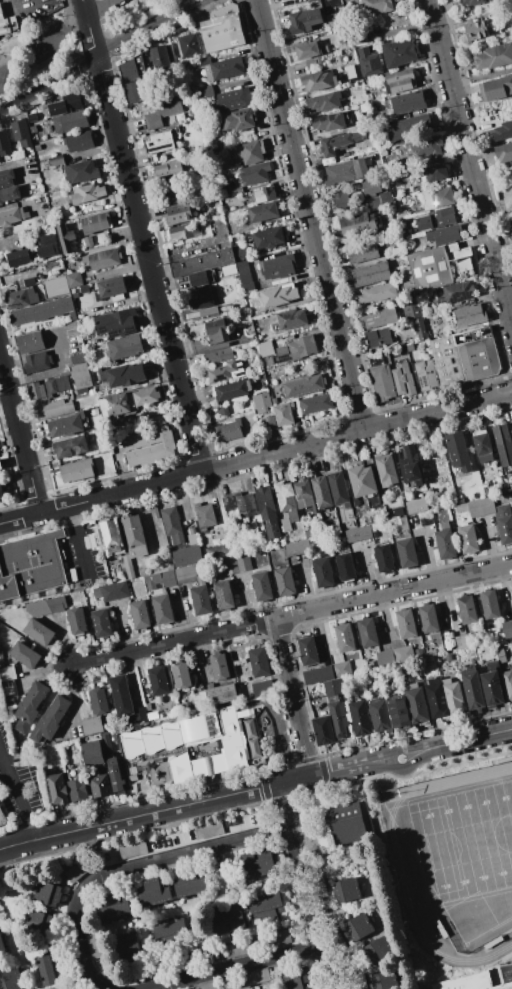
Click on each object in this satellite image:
building: (302, 1)
building: (473, 2)
road: (19, 6)
building: (376, 6)
road: (99, 8)
building: (304, 20)
building: (10, 25)
building: (222, 28)
building: (478, 30)
building: (358, 35)
building: (511, 41)
building: (189, 45)
building: (307, 50)
park: (35, 52)
building: (399, 52)
building: (160, 57)
building: (493, 58)
road: (103, 59)
building: (369, 61)
building: (224, 68)
building: (349, 71)
building: (132, 78)
building: (318, 81)
building: (398, 81)
building: (496, 89)
building: (204, 93)
building: (232, 99)
building: (324, 101)
building: (405, 102)
building: (69, 103)
building: (379, 106)
building: (162, 111)
building: (33, 117)
building: (237, 120)
building: (70, 122)
building: (329, 122)
building: (407, 127)
building: (32, 129)
building: (503, 131)
building: (21, 133)
building: (78, 141)
building: (159, 143)
building: (338, 143)
building: (4, 144)
building: (36, 147)
building: (425, 149)
building: (249, 152)
building: (382, 152)
building: (504, 154)
building: (55, 160)
road: (19, 168)
building: (168, 170)
building: (435, 170)
building: (81, 172)
building: (345, 172)
building: (254, 173)
road: (469, 177)
building: (6, 178)
building: (370, 187)
building: (170, 190)
building: (8, 193)
building: (85, 193)
building: (264, 195)
building: (437, 198)
building: (339, 199)
road: (22, 201)
building: (263, 212)
building: (178, 213)
building: (402, 215)
building: (11, 216)
road: (307, 217)
building: (436, 219)
building: (95, 223)
building: (511, 224)
building: (357, 225)
building: (183, 231)
building: (444, 234)
road: (138, 237)
building: (65, 238)
building: (268, 238)
building: (87, 241)
building: (46, 246)
building: (363, 252)
building: (240, 254)
building: (18, 258)
building: (102, 259)
building: (399, 259)
building: (202, 262)
building: (277, 267)
building: (439, 267)
building: (229, 270)
building: (371, 274)
building: (243, 275)
building: (201, 278)
building: (73, 279)
building: (111, 287)
building: (57, 292)
building: (377, 292)
building: (459, 292)
building: (278, 295)
building: (21, 298)
building: (200, 299)
building: (41, 310)
building: (208, 311)
building: (411, 311)
building: (253, 314)
building: (71, 315)
building: (469, 315)
building: (291, 318)
building: (378, 318)
building: (117, 322)
building: (419, 329)
building: (216, 331)
building: (378, 338)
building: (30, 342)
building: (125, 346)
building: (264, 348)
building: (409, 348)
building: (296, 349)
building: (218, 356)
building: (466, 356)
building: (77, 358)
building: (375, 360)
building: (266, 361)
building: (37, 362)
road: (55, 370)
building: (226, 371)
building: (426, 374)
building: (79, 375)
building: (123, 375)
building: (403, 380)
building: (382, 383)
building: (56, 385)
building: (303, 385)
building: (36, 389)
building: (232, 390)
building: (91, 392)
building: (126, 402)
building: (261, 402)
building: (315, 403)
building: (54, 409)
building: (94, 412)
building: (282, 414)
building: (66, 425)
building: (268, 425)
building: (227, 431)
road: (18, 442)
building: (503, 444)
building: (147, 445)
building: (482, 446)
building: (70, 447)
building: (458, 451)
road: (255, 460)
building: (1, 465)
building: (410, 465)
building: (77, 470)
building: (385, 470)
building: (363, 483)
building: (338, 487)
building: (1, 492)
building: (322, 492)
building: (303, 494)
building: (286, 500)
building: (228, 502)
building: (265, 502)
building: (245, 505)
building: (416, 506)
building: (461, 507)
building: (481, 507)
building: (398, 512)
building: (204, 515)
building: (426, 518)
building: (403, 523)
building: (504, 523)
building: (172, 524)
building: (285, 525)
building: (331, 528)
building: (191, 530)
building: (309, 533)
building: (358, 534)
building: (109, 536)
building: (135, 536)
building: (468, 538)
building: (192, 539)
building: (280, 539)
building: (445, 540)
road: (79, 547)
building: (297, 548)
building: (218, 550)
building: (406, 553)
building: (187, 556)
building: (384, 558)
building: (243, 562)
building: (31, 565)
building: (230, 565)
building: (128, 567)
building: (345, 567)
building: (323, 572)
building: (185, 574)
building: (168, 578)
building: (152, 581)
building: (284, 581)
building: (261, 586)
building: (114, 591)
building: (96, 592)
building: (223, 595)
building: (200, 599)
building: (489, 604)
building: (46, 606)
building: (163, 609)
building: (467, 609)
building: (140, 615)
road: (292, 616)
building: (428, 618)
building: (76, 621)
building: (101, 623)
building: (405, 623)
building: (507, 629)
building: (39, 632)
building: (367, 632)
building: (344, 637)
building: (461, 641)
building: (308, 650)
building: (418, 652)
building: (403, 654)
building: (25, 655)
building: (501, 655)
building: (384, 657)
building: (446, 658)
building: (258, 662)
building: (492, 664)
building: (219, 666)
building: (341, 670)
building: (8, 674)
building: (181, 675)
building: (317, 675)
building: (158, 680)
building: (507, 684)
building: (334, 687)
building: (9, 688)
building: (262, 688)
building: (492, 688)
building: (473, 690)
building: (221, 694)
building: (121, 695)
building: (453, 696)
road: (295, 698)
building: (436, 699)
building: (199, 700)
building: (98, 701)
building: (415, 703)
building: (30, 706)
road: (269, 712)
building: (398, 712)
building: (140, 715)
building: (379, 715)
building: (359, 717)
building: (338, 718)
building: (50, 720)
building: (92, 725)
road: (274, 728)
building: (323, 730)
building: (172, 738)
building: (197, 740)
building: (152, 743)
building: (107, 744)
building: (132, 747)
building: (93, 755)
building: (181, 769)
building: (114, 775)
building: (132, 778)
building: (100, 786)
building: (57, 788)
building: (77, 789)
road: (256, 791)
track: (399, 792)
road: (18, 800)
building: (2, 818)
building: (346, 824)
building: (207, 829)
park: (464, 841)
building: (131, 850)
building: (257, 863)
track: (457, 863)
building: (80, 868)
road: (132, 872)
building: (190, 886)
building: (318, 886)
road: (303, 887)
building: (346, 890)
building: (153, 893)
building: (47, 894)
building: (112, 908)
building: (266, 908)
building: (227, 920)
building: (39, 921)
building: (358, 927)
building: (169, 929)
building: (280, 938)
building: (335, 942)
building: (126, 944)
building: (94, 945)
building: (2, 946)
building: (239, 948)
building: (378, 950)
road: (236, 967)
building: (49, 968)
building: (246, 979)
building: (299, 979)
building: (13, 980)
building: (384, 980)
building: (358, 982)
building: (204, 986)
building: (511, 988)

